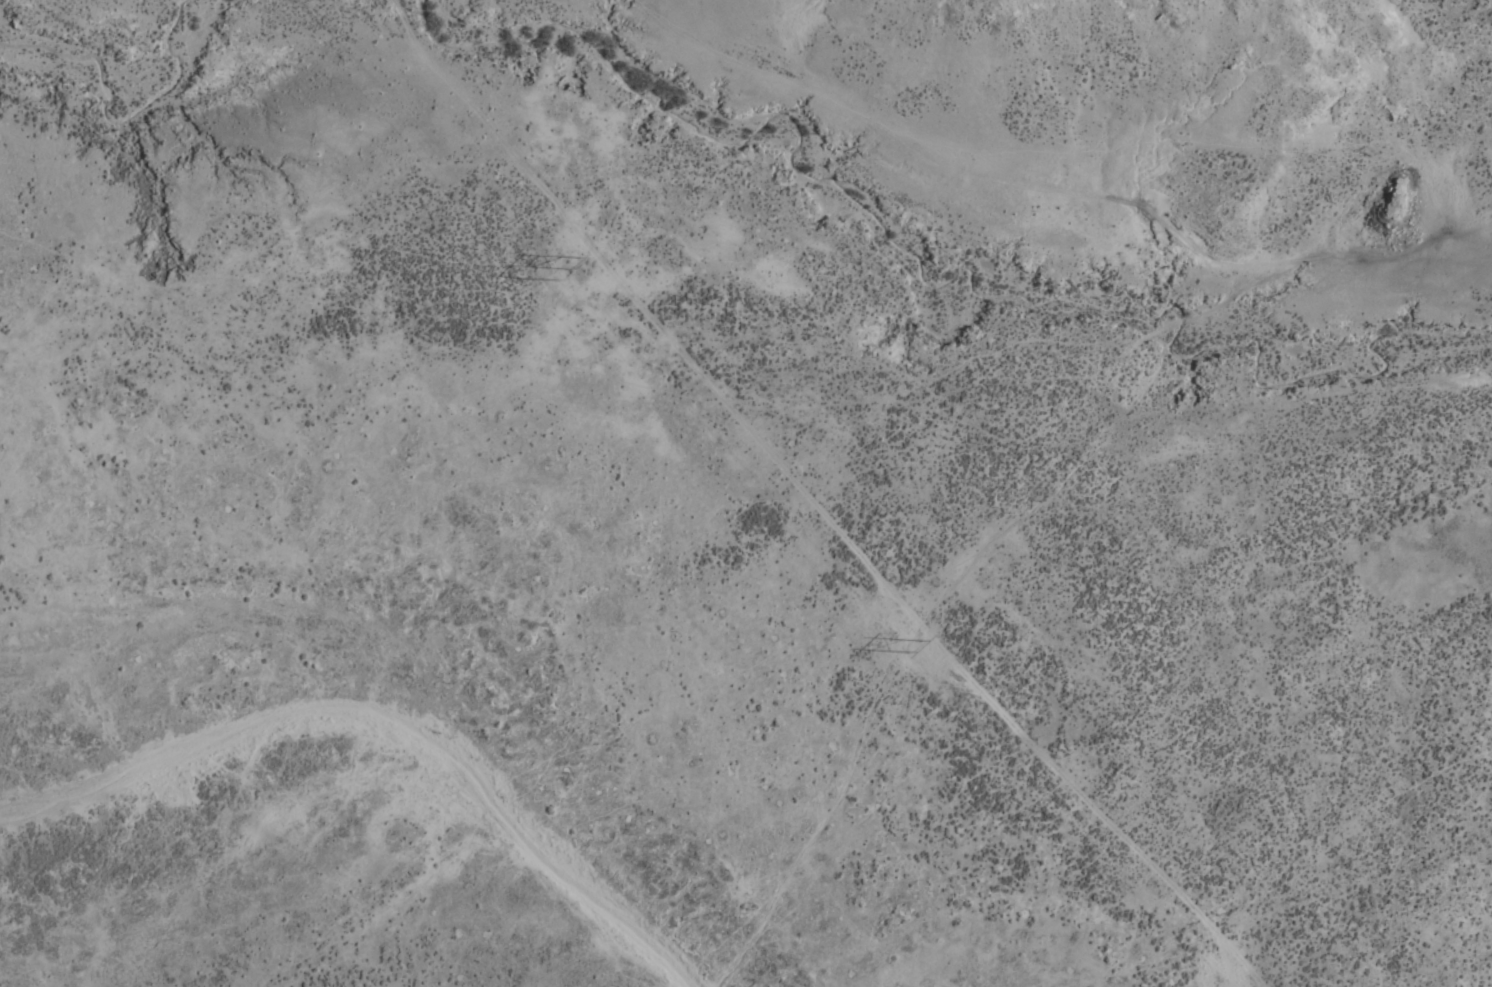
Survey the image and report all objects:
river: (118, 73)
power tower: (563, 268)
river: (926, 285)
power tower: (906, 640)

